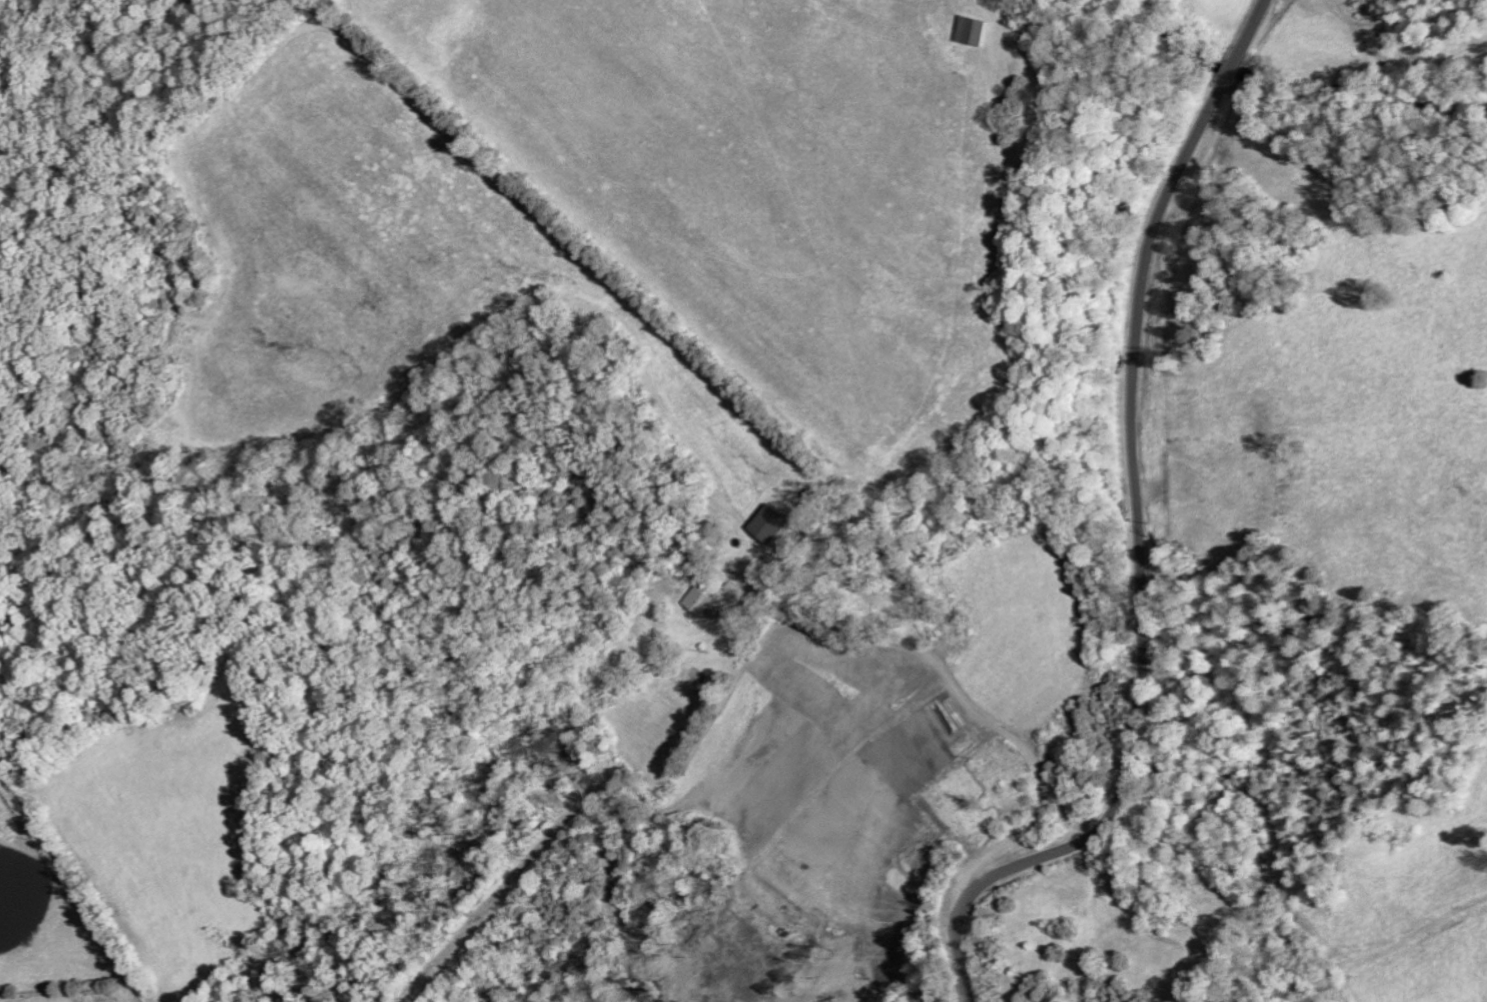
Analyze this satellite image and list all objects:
building: (974, 32)
building: (774, 524)
road: (1137, 533)
building: (700, 601)
road: (998, 698)
road: (71, 891)

